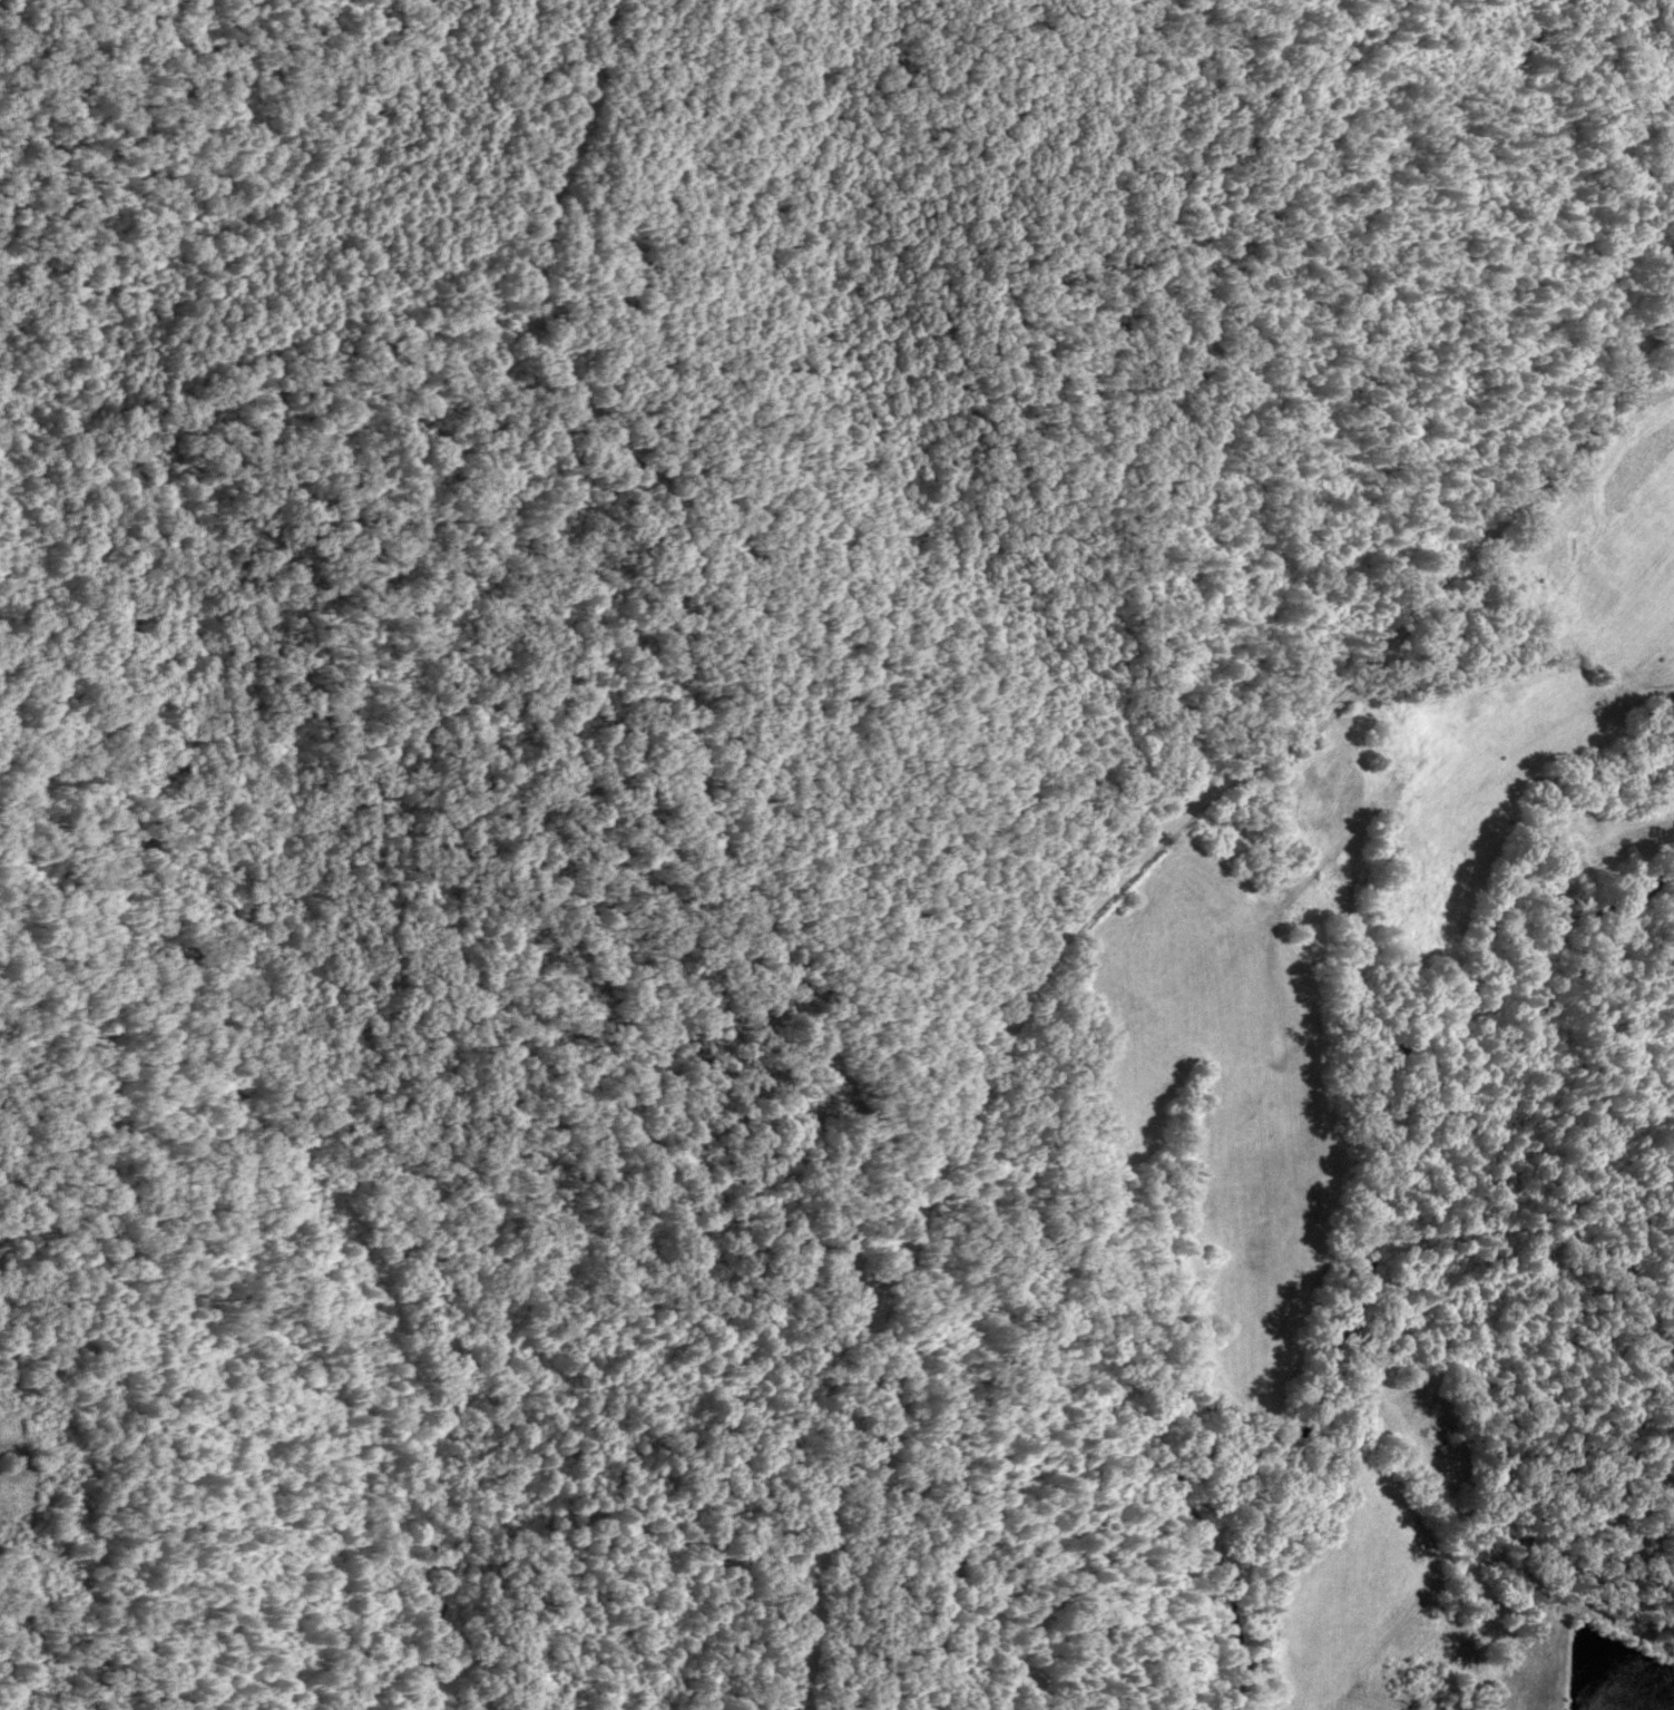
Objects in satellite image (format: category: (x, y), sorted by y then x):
road: (686, 655)
road: (1079, 916)

